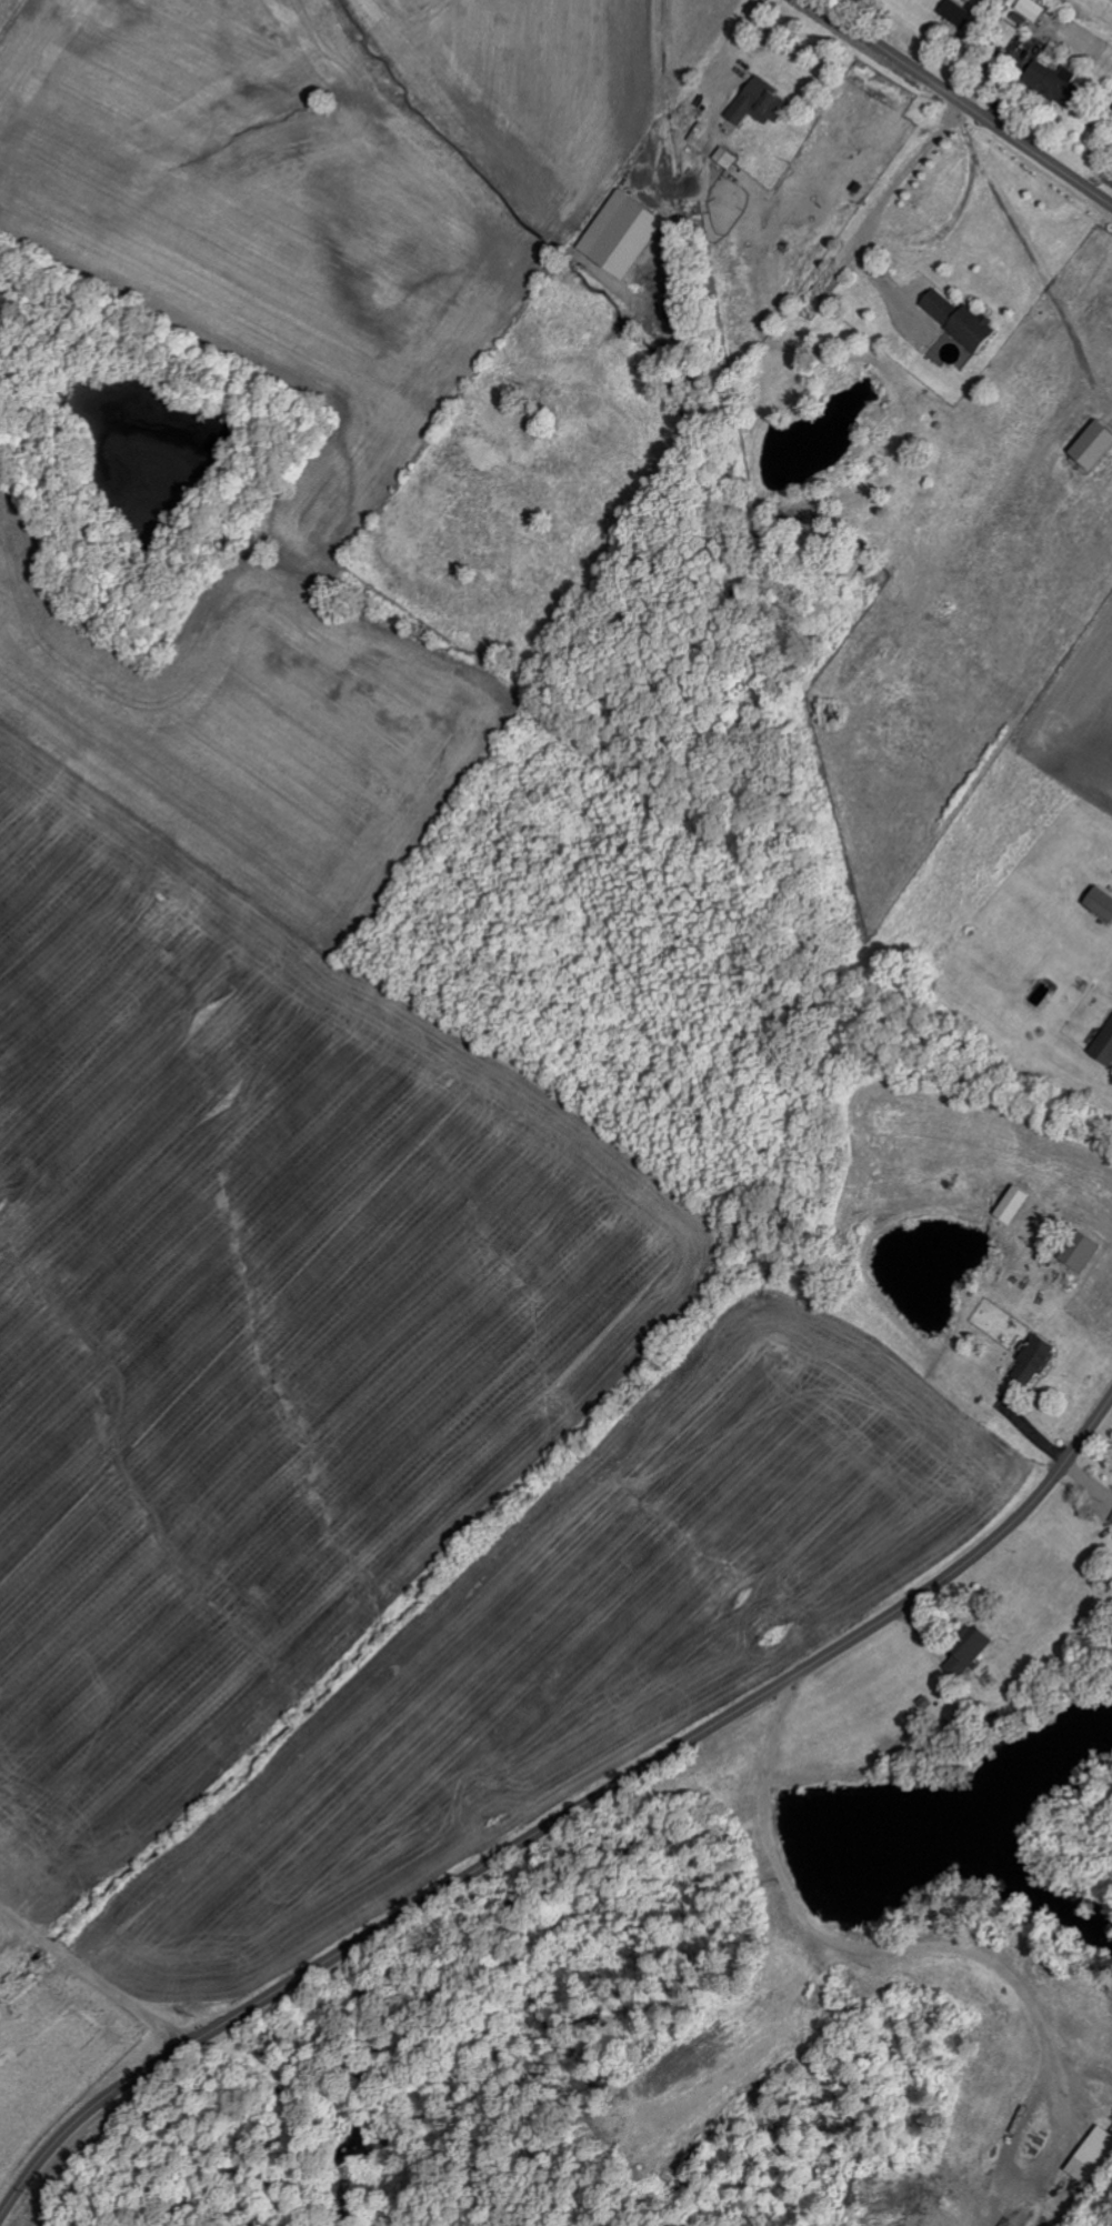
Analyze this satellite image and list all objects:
building: (1035, 9)
building: (960, 13)
building: (1011, 33)
building: (1061, 82)
road: (961, 102)
building: (762, 103)
road: (881, 208)
building: (628, 233)
building: (964, 321)
building: (1098, 444)
building: (1102, 903)
building: (1105, 1047)
building: (1084, 1252)
building: (1039, 1361)
building: (975, 1655)
road: (564, 1817)
road: (863, 1951)
road: (97, 1976)

